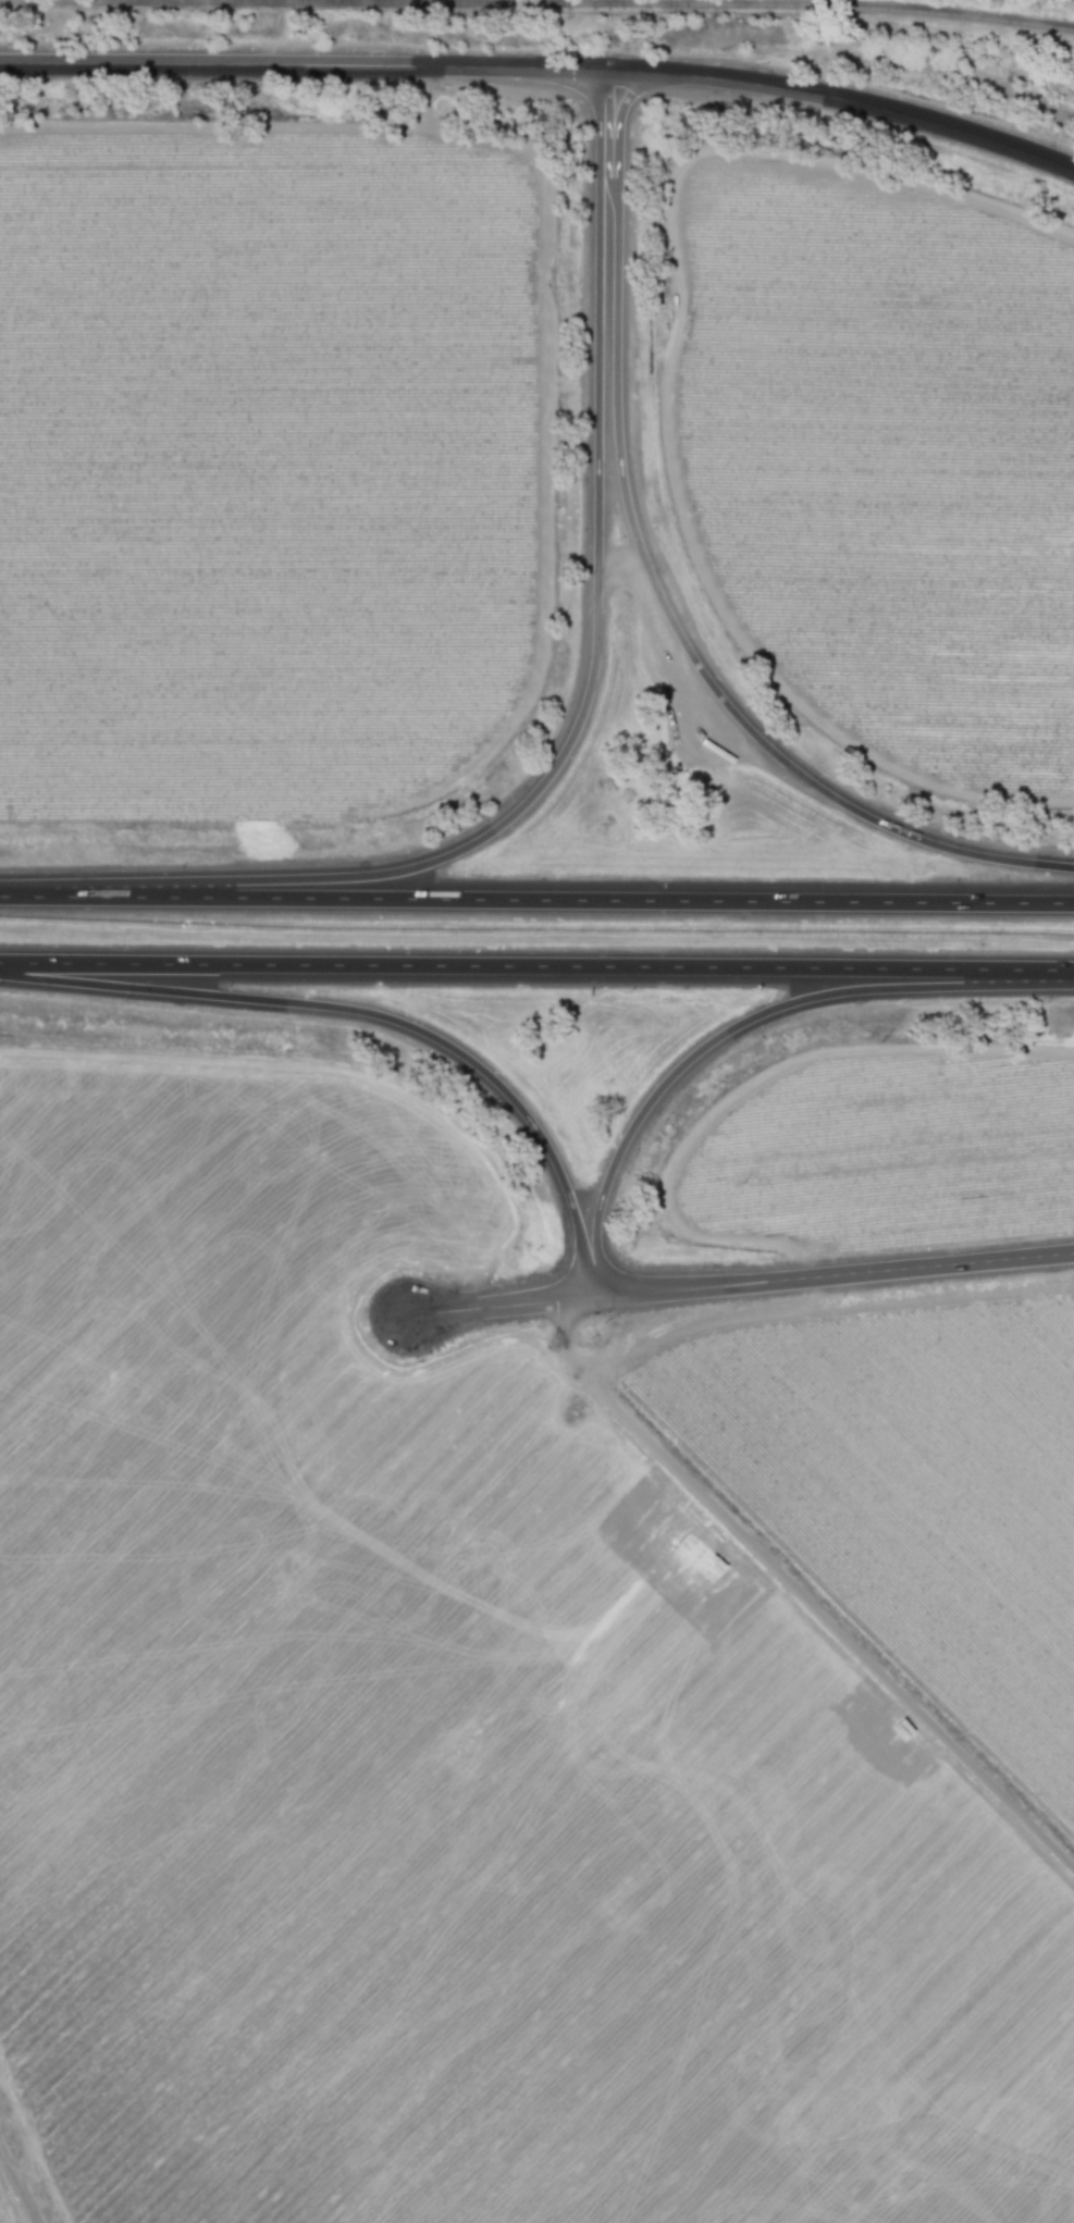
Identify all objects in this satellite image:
railway: (553, 3)
road: (300, 65)
road: (842, 99)
crop: (879, 455)
crop: (261, 466)
road: (656, 593)
road: (585, 695)
road: (536, 901)
road: (530, 968)
road: (1067, 973)
road: (375, 1017)
road: (739, 1026)
crop: (877, 1149)
road: (834, 1276)
road: (499, 1307)
road: (799, 1595)
crop: (507, 1711)

